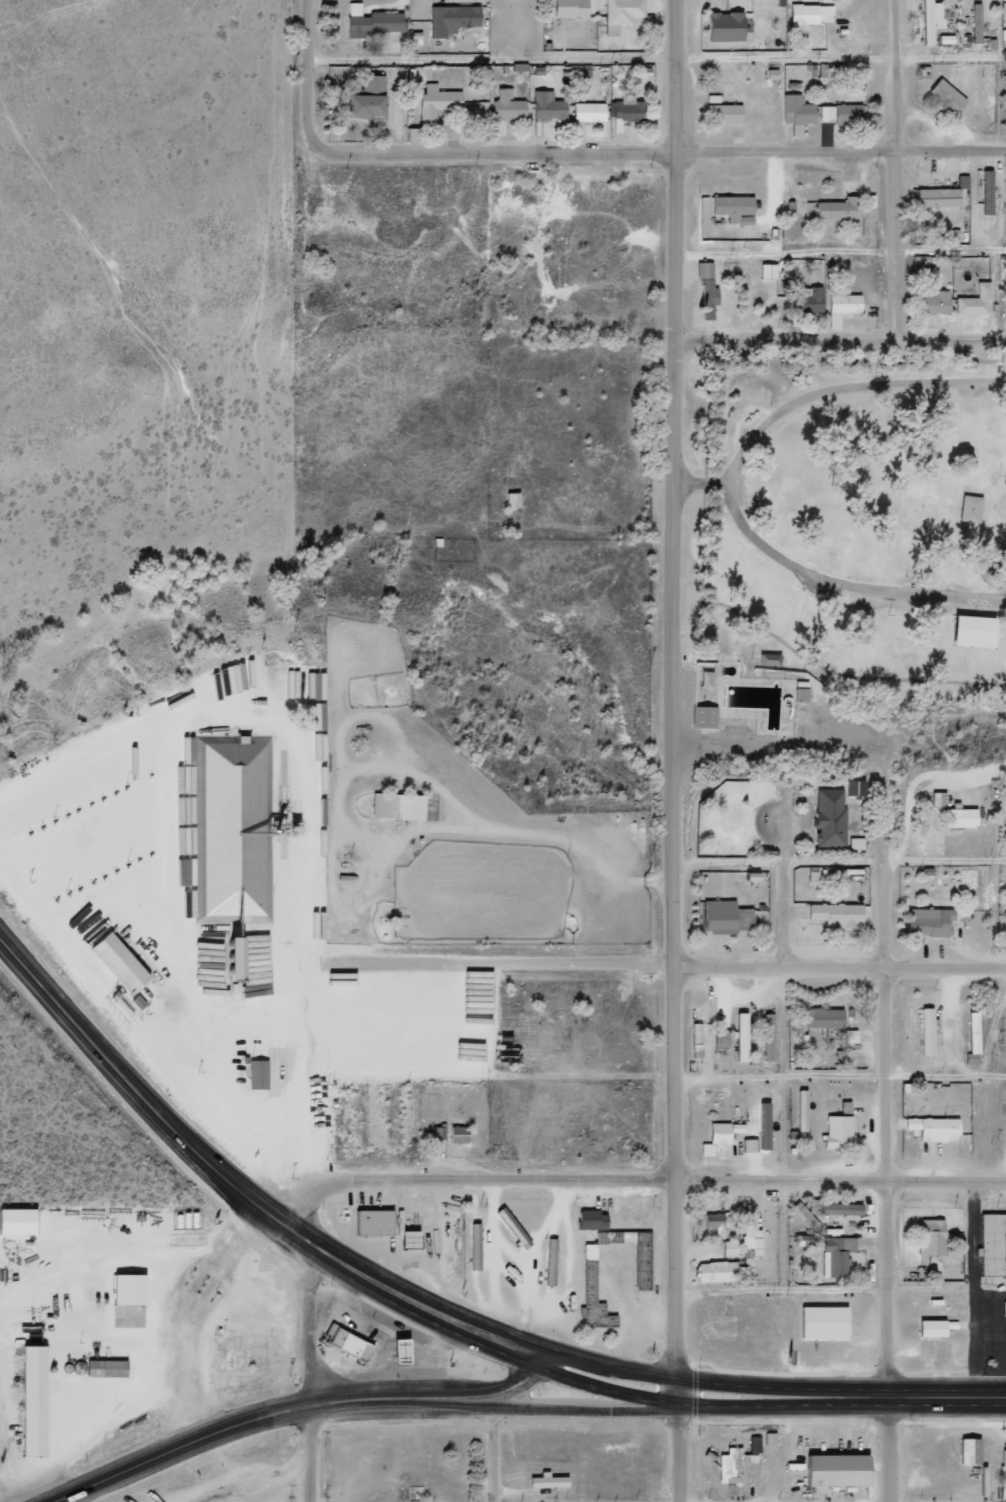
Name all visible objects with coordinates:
building: (572, 8)
building: (623, 13)
building: (809, 17)
building: (454, 19)
building: (372, 21)
building: (936, 22)
building: (977, 22)
building: (728, 26)
building: (825, 70)
road: (301, 77)
building: (948, 96)
building: (370, 98)
building: (508, 106)
building: (548, 106)
building: (434, 109)
building: (633, 109)
building: (798, 110)
building: (590, 111)
building: (842, 113)
building: (727, 114)
road: (659, 146)
road: (890, 172)
building: (989, 191)
building: (940, 197)
building: (734, 206)
building: (838, 209)
building: (706, 269)
building: (770, 270)
building: (709, 297)
building: (808, 299)
building: (976, 301)
building: (936, 302)
building: (843, 307)
road: (841, 343)
road: (734, 486)
building: (514, 499)
building: (973, 508)
park: (847, 554)
building: (977, 630)
road: (678, 688)
building: (802, 694)
building: (729, 714)
building: (705, 716)
building: (856, 788)
building: (1005, 793)
building: (939, 799)
building: (400, 806)
building: (831, 816)
building: (962, 817)
building: (236, 829)
road: (780, 892)
building: (839, 914)
building: (727, 916)
building: (931, 921)
building: (1005, 924)
building: (238, 957)
road: (837, 960)
building: (121, 963)
road: (493, 966)
building: (825, 1017)
building: (929, 1030)
building: (975, 1033)
building: (743, 1035)
building: (770, 1036)
building: (698, 1039)
building: (260, 1073)
road: (139, 1091)
building: (766, 1124)
building: (936, 1127)
road: (888, 1129)
building: (840, 1130)
building: (439, 1131)
building: (461, 1134)
building: (719, 1137)
road: (840, 1172)
road: (474, 1176)
building: (843, 1208)
building: (594, 1219)
building: (19, 1220)
building: (377, 1221)
building: (716, 1223)
building: (933, 1235)
building: (752, 1239)
building: (807, 1239)
building: (994, 1243)
building: (731, 1247)
building: (838, 1254)
building: (718, 1271)
building: (571, 1281)
building: (131, 1288)
building: (594, 1291)
road: (423, 1294)
building: (826, 1321)
building: (937, 1327)
road: (476, 1336)
building: (351, 1343)
building: (399, 1352)
gas station: (399, 1352)
road: (616, 1363)
road: (306, 1364)
road: (77, 1368)
building: (108, 1368)
road: (775, 1385)
road: (505, 1386)
road: (940, 1394)
building: (36, 1400)
road: (466, 1400)
road: (776, 1402)
road: (585, 1405)
road: (237, 1420)
road: (677, 1438)
building: (771, 1438)
building: (756, 1444)
building: (972, 1450)
road: (493, 1452)
building: (739, 1466)
building: (839, 1469)
building: (1004, 1473)
building: (550, 1480)

